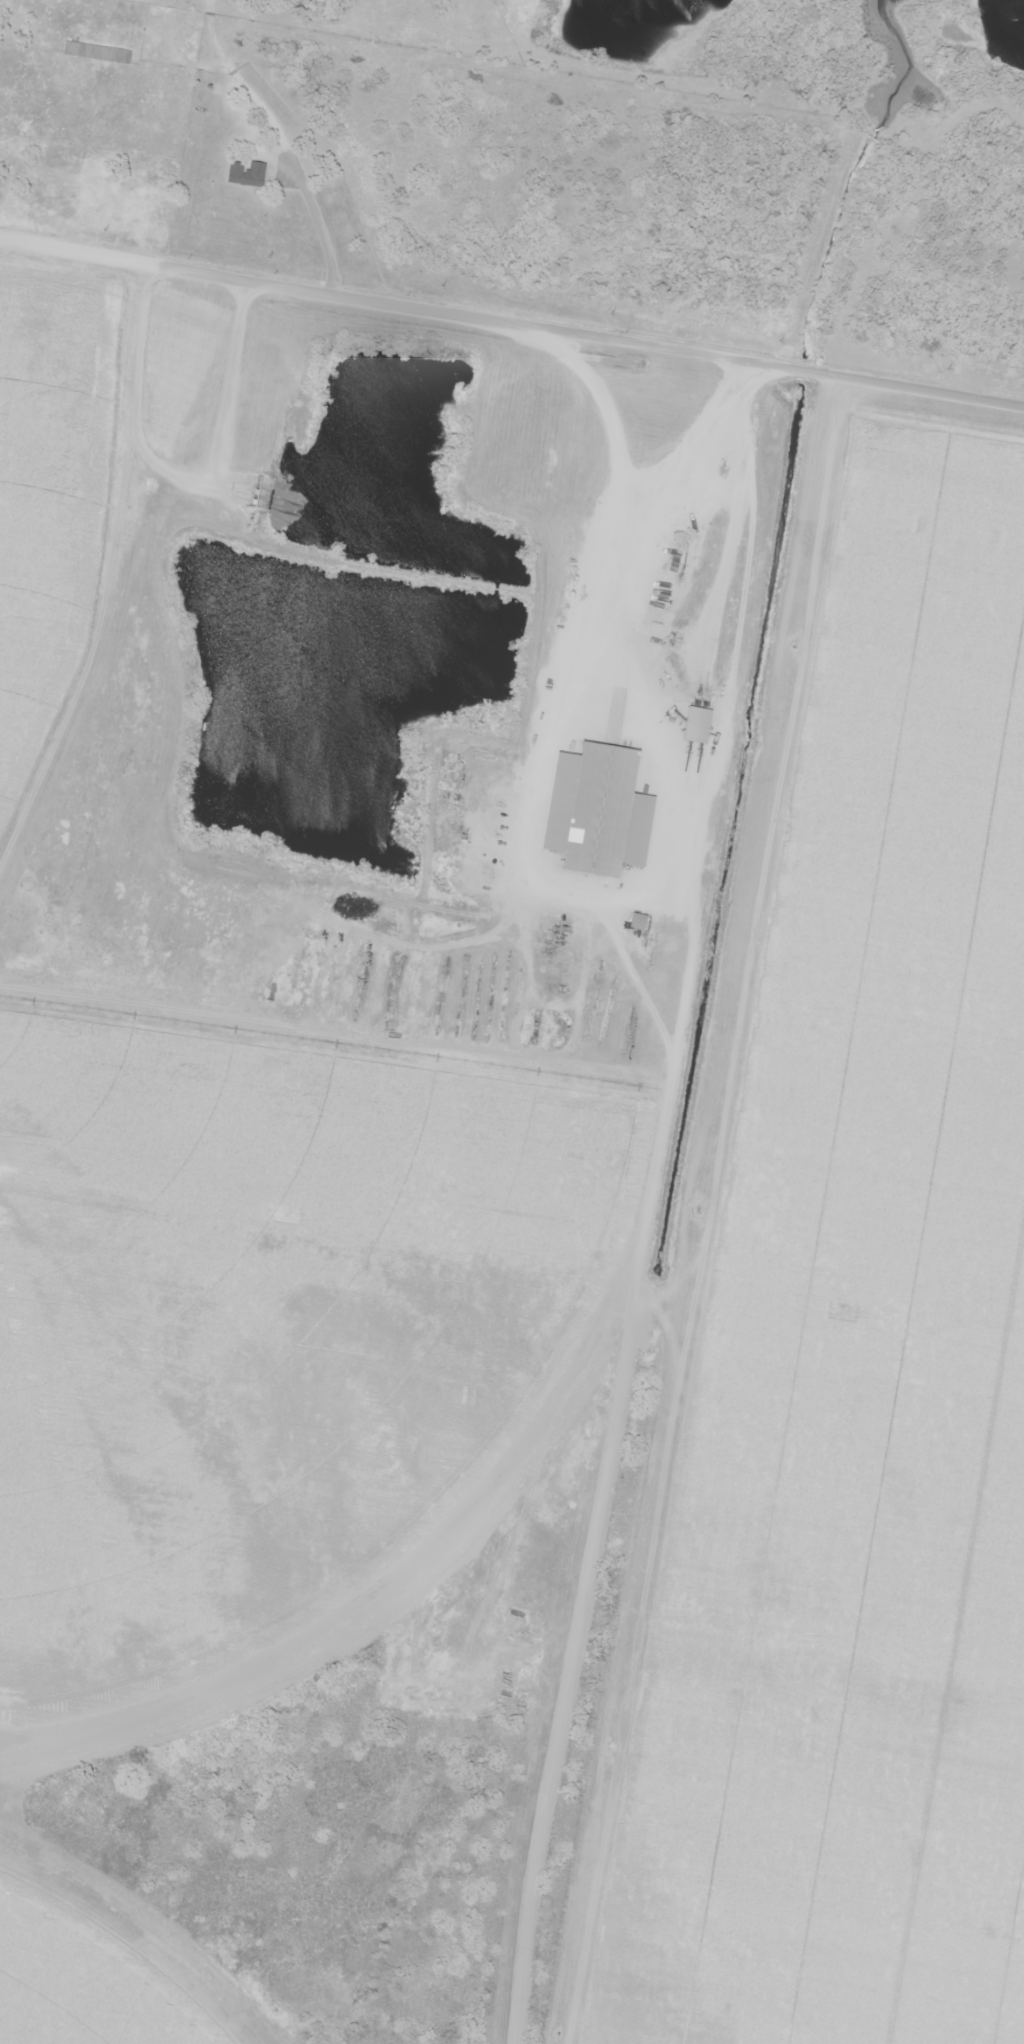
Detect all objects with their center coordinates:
building: (96, 53)
building: (246, 174)
road: (128, 182)
railway: (512, 272)
road: (924, 389)
building: (697, 726)
building: (595, 809)
road: (729, 903)
building: (638, 922)

